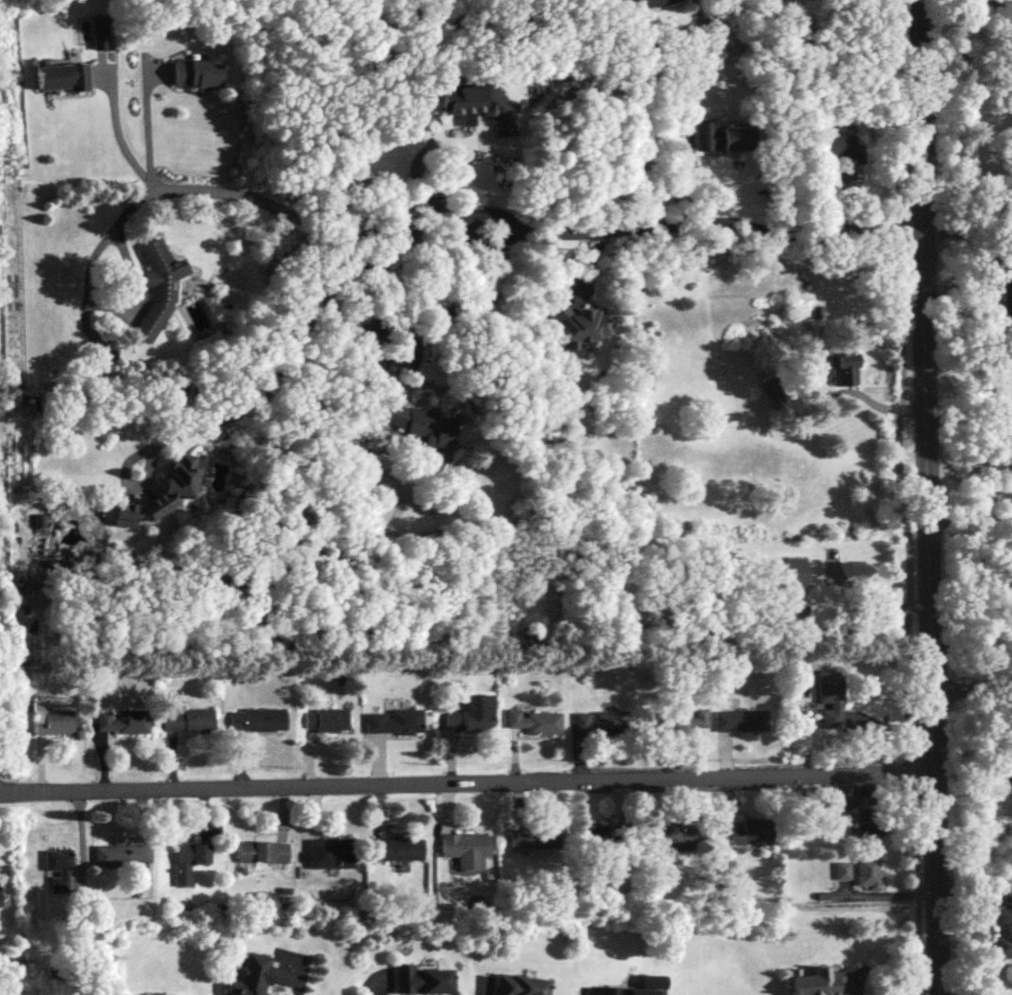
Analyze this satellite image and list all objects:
building: (191, 74)
road: (638, 76)
building: (65, 77)
building: (964, 87)
building: (476, 106)
road: (149, 130)
road: (121, 135)
building: (721, 138)
building: (831, 149)
road: (421, 190)
road: (964, 213)
road: (534, 227)
building: (155, 286)
building: (1007, 298)
road: (461, 304)
road: (126, 318)
building: (576, 322)
road: (293, 350)
building: (841, 368)
building: (417, 423)
building: (171, 484)
road: (895, 497)
road: (923, 497)
road: (966, 513)
building: (122, 514)
park: (13, 530)
park: (13, 530)
building: (789, 587)
road: (870, 591)
road: (970, 691)
building: (829, 700)
building: (470, 715)
building: (50, 720)
building: (254, 720)
building: (324, 720)
building: (119, 721)
building: (186, 721)
building: (683, 721)
building: (738, 721)
building: (392, 722)
building: (533, 722)
building: (598, 723)
road: (464, 781)
building: (1007, 782)
building: (825, 811)
building: (867, 822)
building: (750, 832)
building: (667, 834)
building: (531, 837)
building: (591, 840)
building: (394, 848)
building: (463, 849)
building: (261, 852)
building: (329, 853)
building: (119, 855)
building: (187, 861)
building: (56, 869)
building: (856, 871)
road: (973, 890)
building: (1003, 933)
building: (254, 974)
building: (419, 980)
road: (298, 981)
building: (811, 982)
building: (516, 985)
building: (627, 992)

